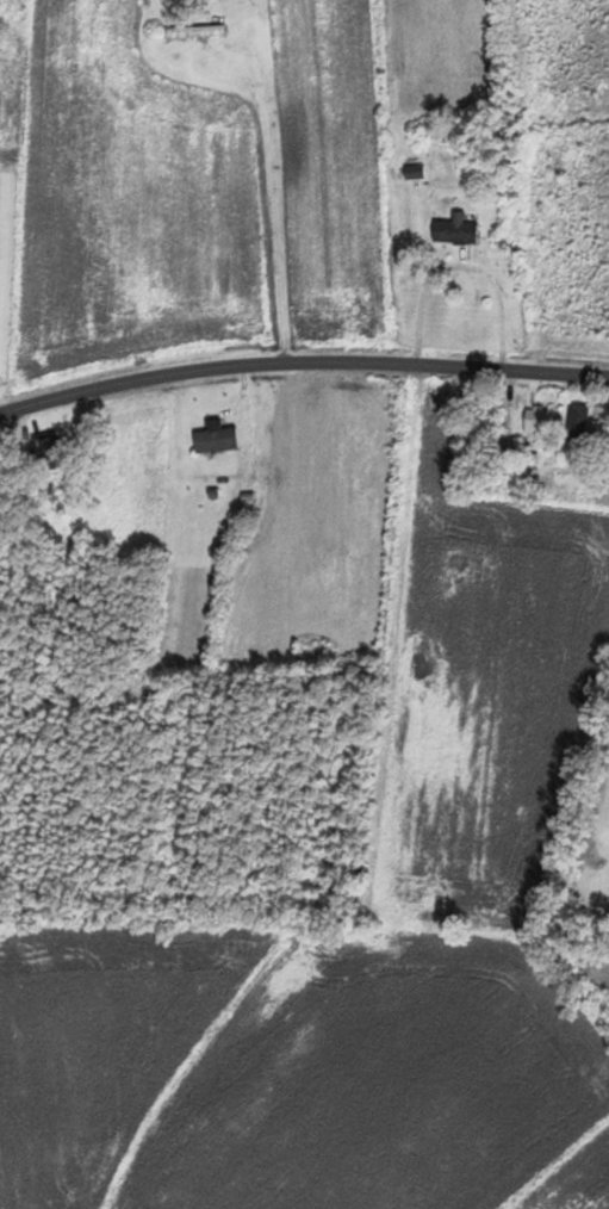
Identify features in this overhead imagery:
building: (193, 31)
building: (414, 172)
road: (30, 182)
road: (256, 199)
building: (455, 230)
road: (497, 293)
road: (302, 360)
building: (539, 421)
building: (577, 424)
building: (216, 440)
building: (45, 449)
road: (11, 886)

